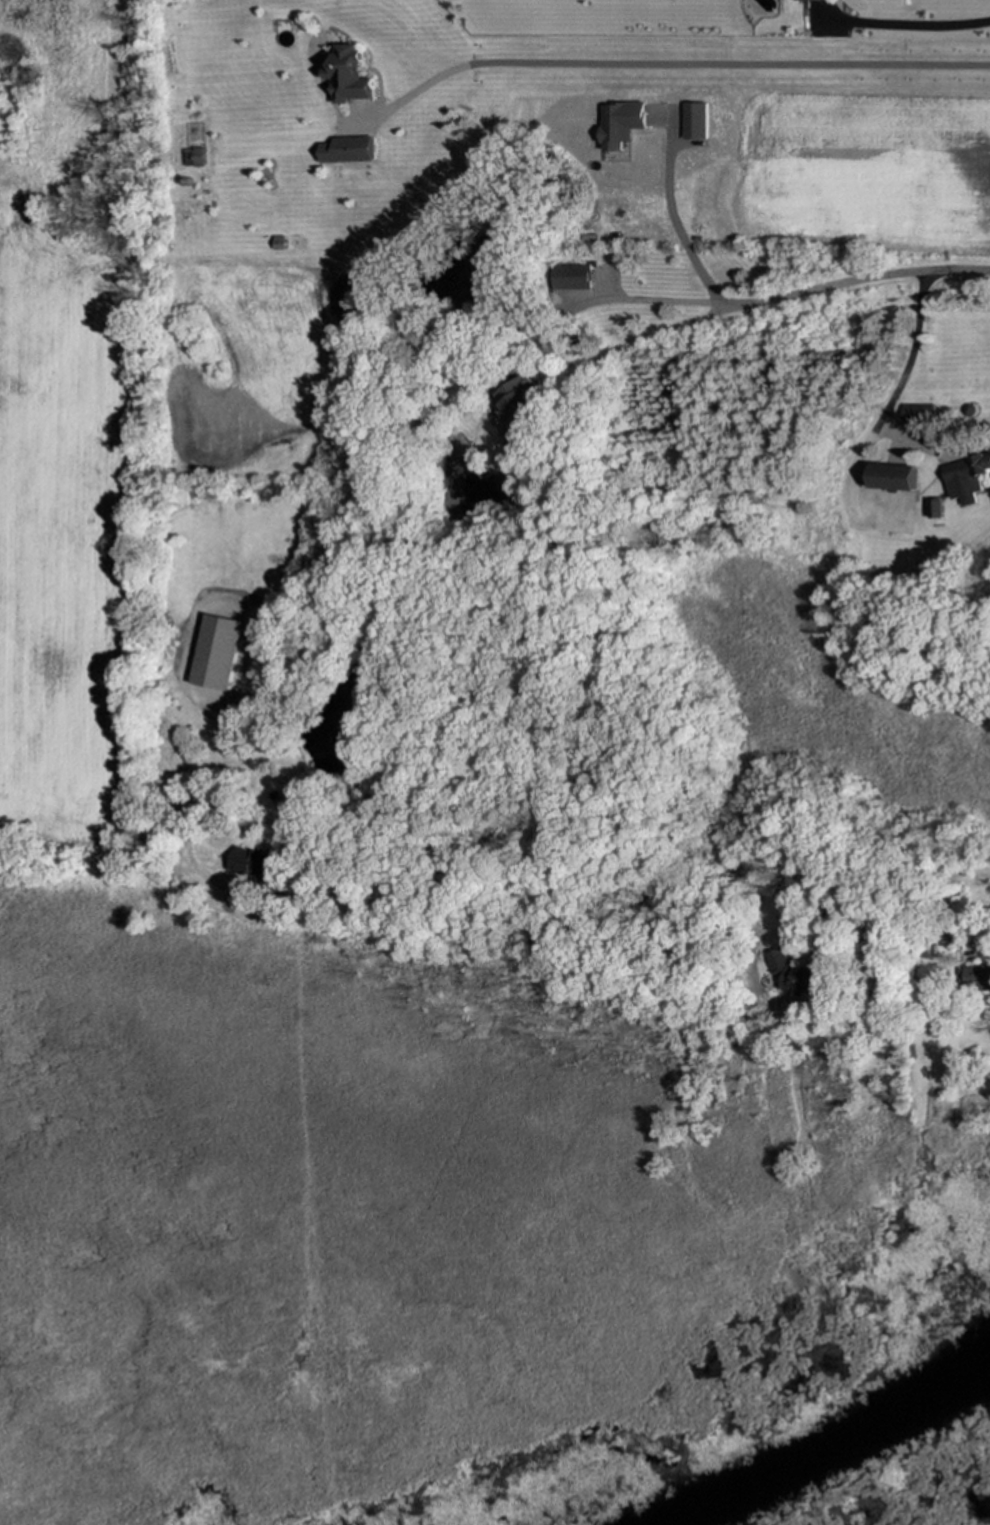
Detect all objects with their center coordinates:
building: (809, 0)
road: (904, 25)
road: (677, 63)
building: (348, 76)
building: (696, 121)
building: (623, 124)
building: (348, 151)
building: (194, 158)
road: (678, 222)
building: (572, 277)
road: (674, 301)
road: (897, 390)
road: (577, 393)
building: (521, 399)
building: (919, 413)
road: (932, 446)
building: (895, 477)
building: (968, 478)
building: (937, 509)
crop: (61, 524)
building: (218, 652)
road: (248, 756)
road: (292, 840)
building: (259, 865)
road: (892, 874)
road: (743, 919)
building: (793, 975)
building: (977, 978)

